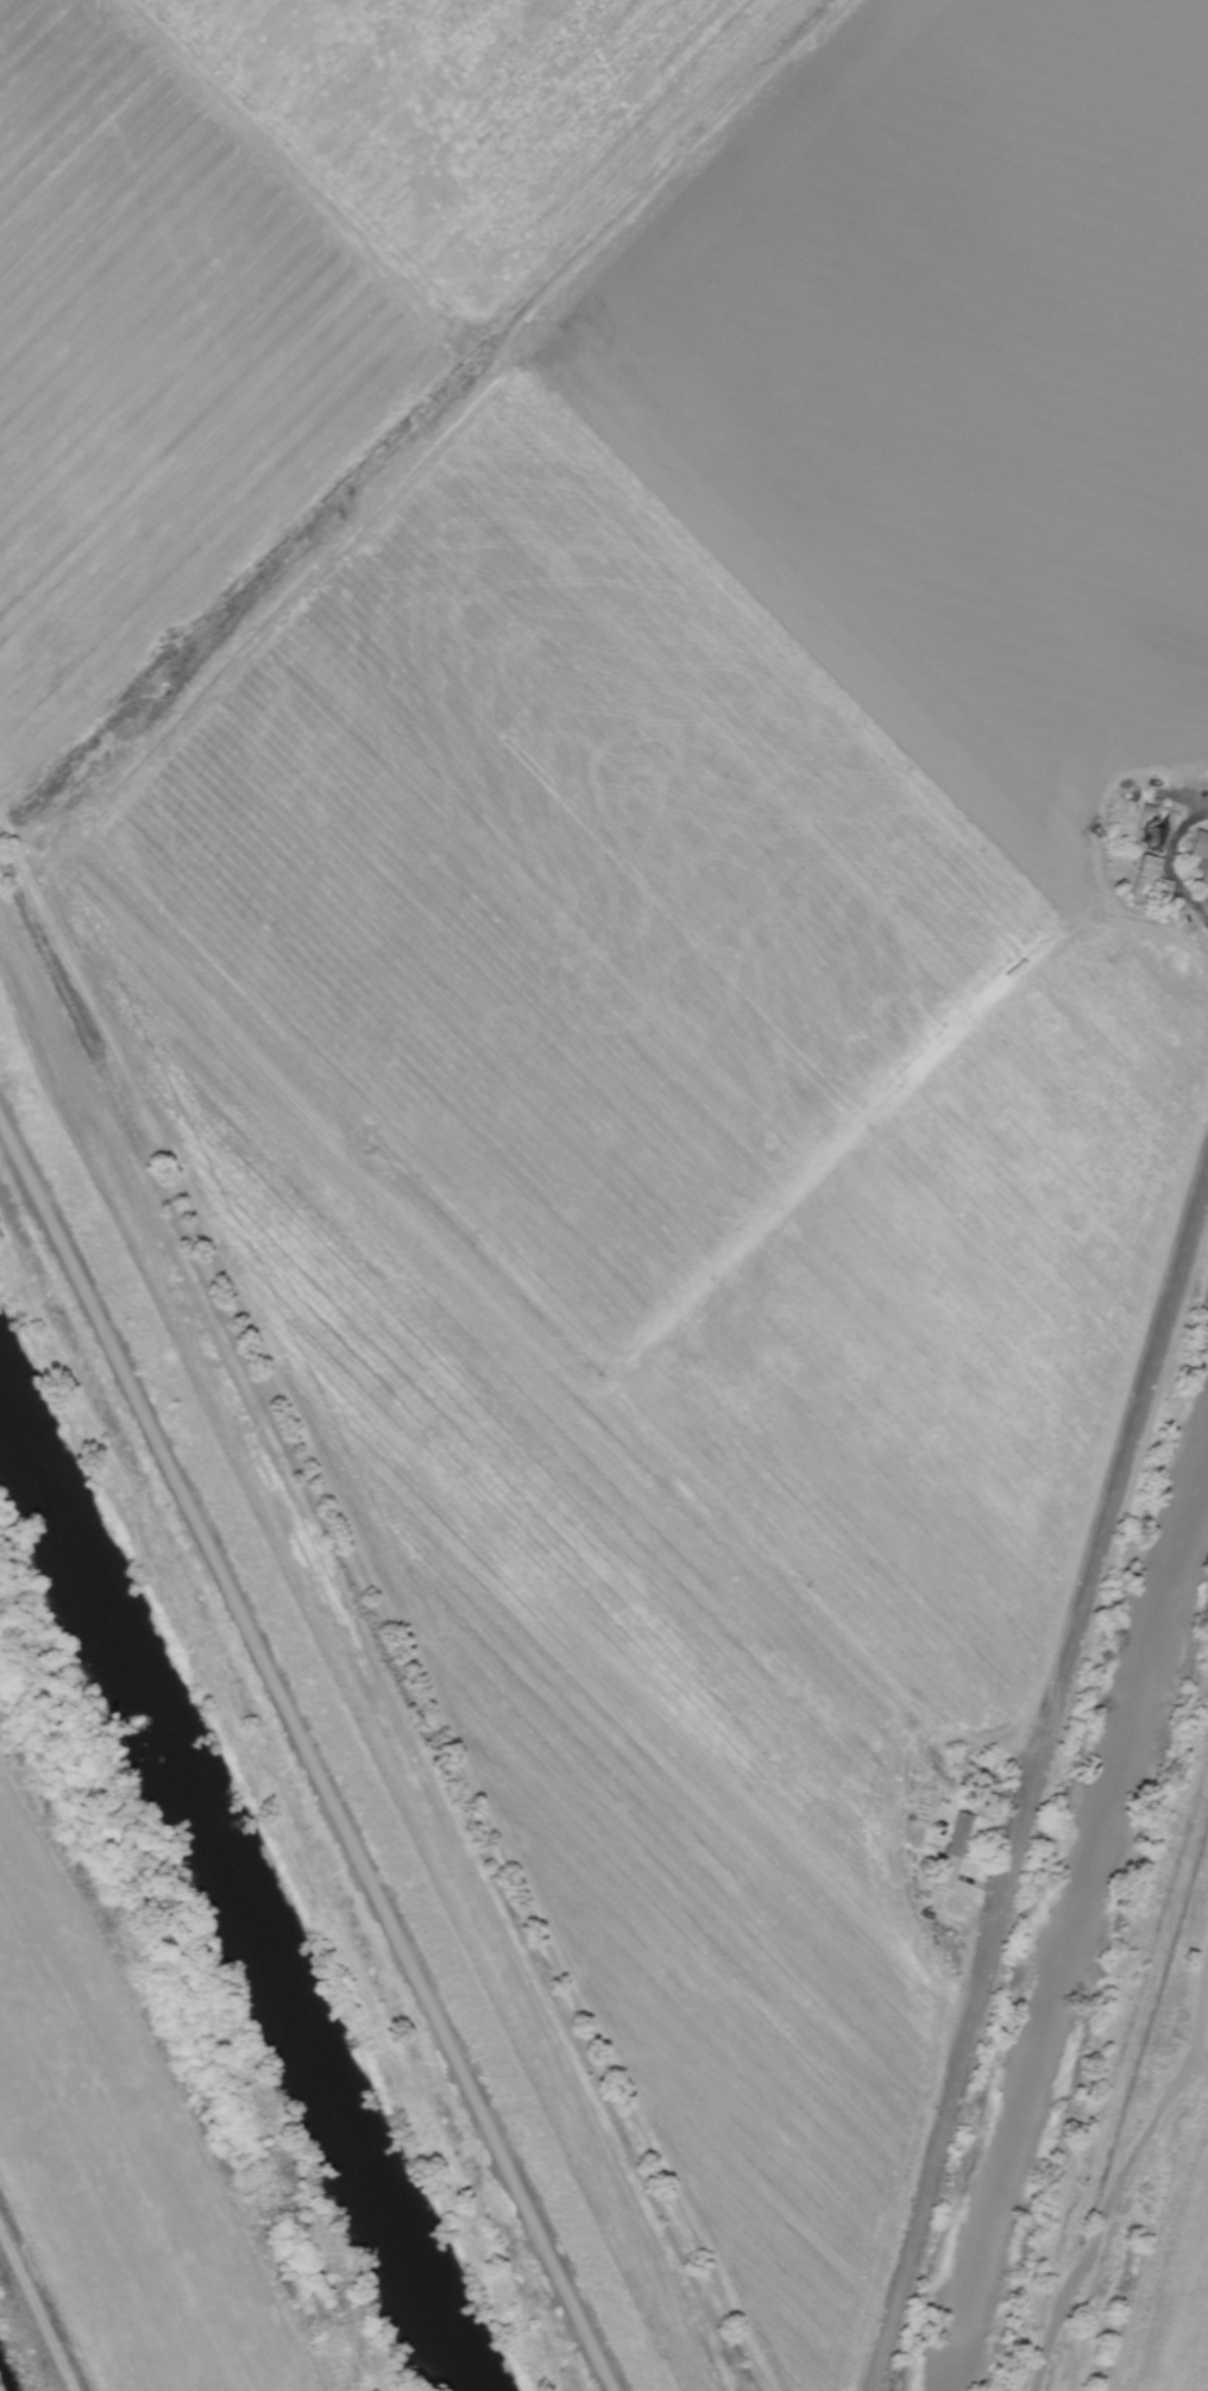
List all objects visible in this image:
building: (1200, 856)
road: (1169, 864)
building: (1143, 872)
crop: (630, 946)
road: (307, 1738)
road: (1034, 1788)
building: (952, 1849)
road: (1119, 2095)
crop: (127, 2130)
crop: (1168, 2248)

